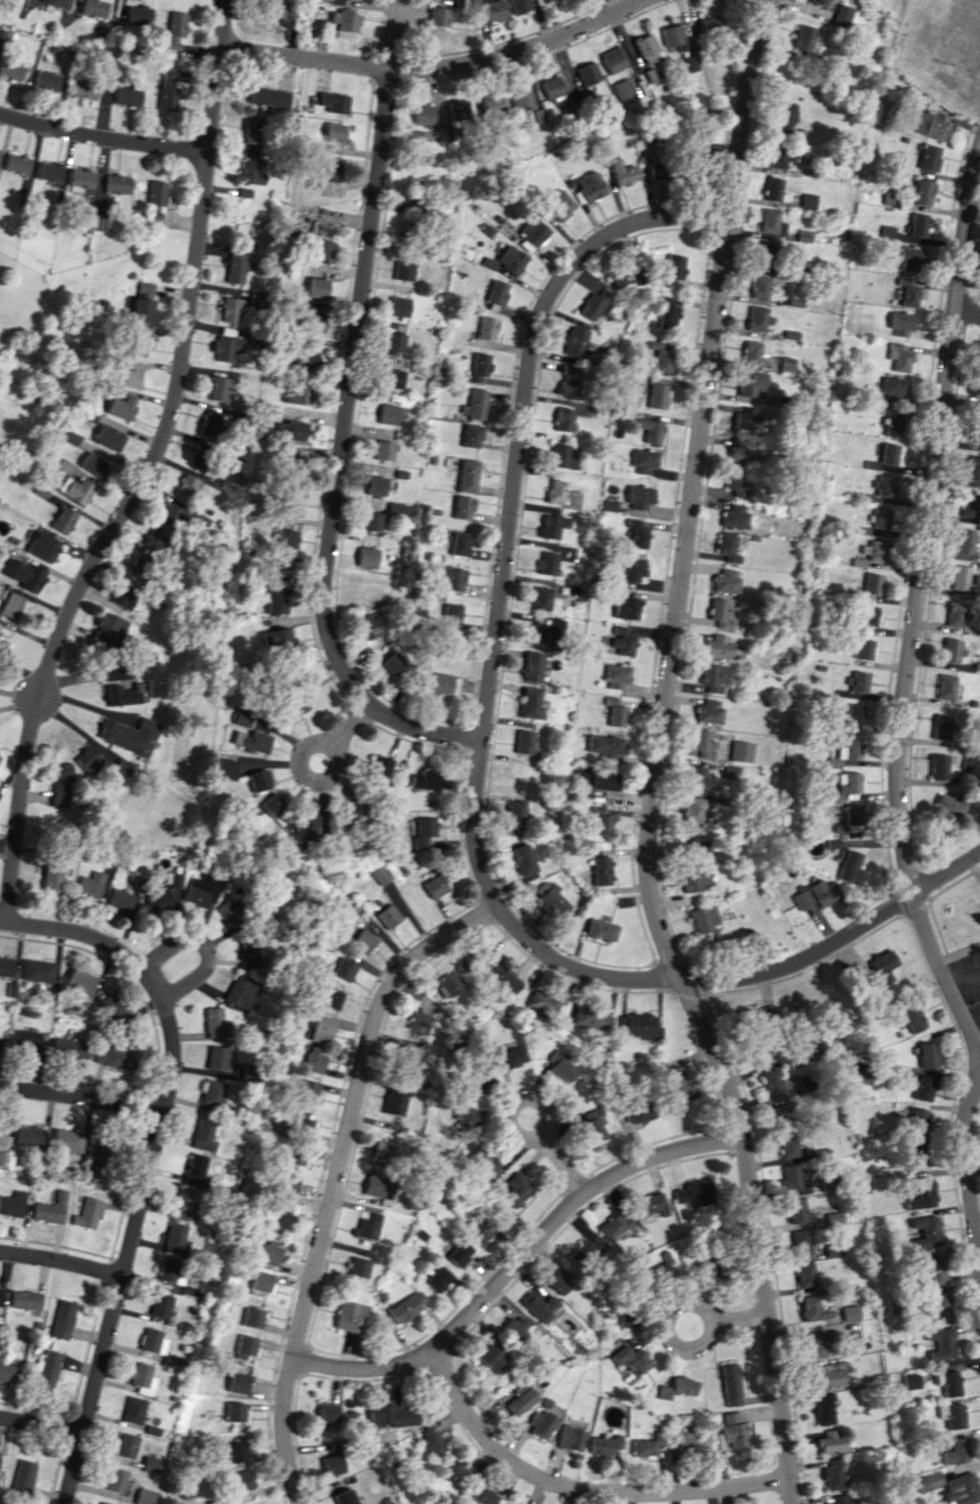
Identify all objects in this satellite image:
building: (29, 0)
building: (818, 2)
building: (59, 3)
building: (519, 5)
building: (95, 7)
building: (285, 9)
building: (494, 10)
building: (139, 14)
building: (841, 15)
building: (438, 16)
building: (346, 21)
building: (710, 25)
building: (176, 30)
road: (394, 35)
building: (673, 37)
building: (802, 37)
building: (646, 48)
building: (613, 59)
building: (688, 63)
road: (437, 67)
building: (11, 70)
building: (587, 73)
building: (47, 80)
building: (551, 86)
building: (84, 89)
building: (169, 90)
building: (623, 90)
building: (129, 95)
building: (268, 97)
building: (520, 98)
building: (334, 102)
building: (491, 103)
building: (458, 110)
building: (423, 114)
building: (783, 118)
building: (931, 124)
building: (253, 131)
building: (327, 135)
road: (103, 139)
building: (0, 151)
building: (779, 155)
building: (928, 157)
building: (17, 163)
building: (655, 168)
building: (251, 170)
building: (50, 171)
building: (329, 171)
building: (622, 173)
building: (81, 180)
building: (117, 184)
building: (591, 186)
building: (773, 188)
building: (921, 192)
building: (887, 198)
building: (155, 199)
building: (807, 200)
building: (560, 205)
building: (768, 221)
building: (86, 222)
building: (917, 225)
building: (321, 229)
building: (409, 230)
building: (534, 231)
building: (802, 235)
building: (323, 248)
building: (764, 254)
building: (512, 259)
building: (909, 259)
building: (236, 264)
building: (673, 269)
building: (403, 270)
building: (626, 277)
building: (317, 287)
building: (759, 287)
building: (498, 292)
building: (907, 292)
building: (257, 299)
building: (138, 304)
building: (596, 305)
building: (399, 306)
road: (967, 307)
building: (229, 309)
building: (669, 312)
building: (756, 318)
building: (312, 323)
building: (900, 324)
building: (488, 328)
building: (576, 341)
building: (394, 342)
building: (137, 343)
building: (226, 347)
building: (752, 352)
building: (661, 356)
building: (897, 356)
building: (307, 359)
building: (785, 364)
building: (481, 367)
building: (127, 375)
building: (393, 378)
building: (570, 380)
building: (749, 382)
building: (218, 388)
building: (892, 388)
building: (657, 393)
building: (299, 395)
building: (476, 404)
building: (121, 406)
building: (390, 414)
building: (744, 418)
building: (565, 419)
building: (891, 422)
building: (209, 423)
building: (977, 429)
building: (291, 430)
building: (651, 430)
building: (473, 435)
building: (108, 437)
building: (70, 438)
building: (384, 450)
road: (339, 451)
building: (740, 453)
building: (886, 453)
building: (200, 456)
building: (562, 456)
building: (645, 461)
building: (92, 464)
building: (295, 467)
building: (973, 468)
road: (145, 469)
building: (469, 476)
building: (736, 483)
building: (376, 485)
building: (882, 485)
building: (186, 487)
building: (75, 489)
building: (556, 491)
road: (511, 497)
building: (640, 497)
building: (290, 502)
building: (969, 505)
building: (463, 507)
building: (399, 509)
building: (175, 513)
building: (734, 515)
building: (879, 518)
building: (62, 520)
building: (371, 521)
building: (552, 526)
building: (637, 533)
building: (285, 538)
building: (156, 540)
building: (964, 541)
building: (460, 543)
building: (42, 546)
building: (727, 547)
building: (873, 550)
building: (367, 557)
building: (547, 563)
building: (137, 567)
building: (631, 568)
building: (277, 570)
building: (24, 574)
building: (371, 577)
building: (448, 577)
building: (962, 578)
building: (725, 581)
building: (871, 583)
building: (371, 595)
building: (123, 597)
building: (541, 598)
building: (274, 599)
road: (918, 601)
building: (11, 605)
building: (626, 605)
building: (719, 612)
building: (955, 614)
building: (451, 615)
building: (868, 615)
building: (0, 626)
building: (370, 626)
building: (108, 630)
building: (546, 632)
building: (275, 639)
building: (623, 640)
building: (717, 646)
building: (863, 648)
building: (951, 650)
building: (393, 663)
building: (291, 666)
building: (533, 666)
building: (117, 673)
building: (617, 676)
building: (713, 677)
building: (856, 681)
building: (437, 683)
building: (946, 686)
building: (122, 695)
building: (531, 701)
building: (294, 706)
building: (709, 710)
building: (616, 711)
building: (854, 714)
building: (241, 718)
building: (942, 726)
road: (347, 727)
building: (130, 735)
building: (251, 740)
building: (523, 741)
building: (701, 743)
building: (608, 747)
road: (330, 750)
building: (740, 751)
building: (845, 751)
building: (0, 755)
road: (656, 758)
building: (88, 759)
building: (379, 766)
building: (939, 766)
building: (225, 768)
building: (698, 777)
building: (425, 779)
building: (257, 780)
building: (604, 780)
building: (848, 782)
building: (60, 783)
building: (949, 806)
building: (275, 809)
building: (692, 809)
building: (515, 814)
building: (852, 814)
building: (601, 820)
building: (303, 829)
building: (426, 834)
building: (690, 839)
building: (523, 859)
building: (850, 867)
building: (601, 870)
road: (946, 871)
building: (380, 875)
building: (51, 878)
building: (694, 878)
building: (90, 884)
building: (435, 886)
building: (203, 889)
building: (822, 892)
building: (164, 893)
building: (551, 898)
building: (800, 899)
building: (120, 900)
building: (231, 912)
building: (388, 916)
building: (703, 918)
building: (601, 929)
road: (84, 934)
building: (363, 940)
road: (206, 947)
building: (250, 953)
building: (6, 966)
building: (880, 967)
building: (343, 968)
building: (38, 971)
building: (500, 976)
road: (961, 977)
road: (701, 979)
building: (80, 981)
building: (450, 983)
building: (242, 990)
building: (330, 998)
building: (542, 1003)
building: (113, 1009)
building: (758, 1014)
building: (591, 1019)
building: (912, 1019)
building: (214, 1022)
building: (417, 1022)
building: (639, 1026)
building: (321, 1028)
building: (25, 1040)
building: (812, 1047)
building: (69, 1048)
building: (765, 1054)
building: (927, 1054)
building: (511, 1055)
building: (115, 1056)
building: (218, 1057)
building: (314, 1059)
building: (406, 1059)
building: (560, 1067)
building: (771, 1081)
building: (477, 1082)
building: (675, 1082)
building: (923, 1087)
building: (307, 1089)
building: (212, 1093)
road: (81, 1100)
building: (393, 1100)
building: (638, 1112)
building: (780, 1114)
building: (464, 1117)
road: (512, 1120)
building: (916, 1120)
building: (302, 1125)
building: (592, 1125)
building: (204, 1135)
building: (29, 1136)
building: (68, 1140)
building: (4, 1145)
building: (786, 1145)
building: (381, 1151)
building: (103, 1158)
building: (294, 1158)
road: (562, 1160)
building: (916, 1160)
building: (197, 1170)
road: (968, 1173)
road: (335, 1178)
building: (791, 1178)
building: (825, 1182)
building: (374, 1186)
building: (287, 1190)
building: (516, 1191)
building: (694, 1192)
building: (922, 1193)
building: (186, 1203)
building: (13, 1204)
building: (651, 1204)
building: (52, 1209)
building: (796, 1211)
building: (88, 1213)
road: (563, 1214)
building: (832, 1216)
building: (279, 1220)
building: (368, 1226)
building: (615, 1226)
building: (482, 1230)
building: (924, 1231)
building: (176, 1238)
building: (799, 1242)
road: (129, 1243)
building: (585, 1250)
building: (831, 1250)
building: (267, 1252)
building: (459, 1253)
road: (61, 1262)
building: (359, 1267)
building: (169, 1269)
building: (933, 1270)
building: (803, 1274)
building: (438, 1279)
building: (559, 1279)
building: (263, 1281)
building: (1, 1299)
building: (27, 1299)
building: (162, 1305)
building: (538, 1305)
building: (407, 1306)
building: (808, 1308)
building: (938, 1308)
building: (847, 1312)
building: (351, 1315)
road: (739, 1317)
building: (254, 1318)
building: (64, 1319)
building: (627, 1319)
road: (665, 1327)
building: (515, 1328)
building: (153, 1341)
building: (940, 1343)
building: (853, 1344)
building: (248, 1345)
building: (813, 1345)
building: (493, 1357)
building: (632, 1358)
building: (171, 1359)
building: (49, 1368)
building: (8, 1372)
building: (826, 1375)
building: (143, 1378)
building: (909, 1380)
building: (946, 1382)
building: (239, 1383)
building: (730, 1384)
building: (677, 1387)
building: (521, 1398)
building: (825, 1409)
building: (134, 1410)
building: (236, 1411)
building: (328, 1412)
building: (392, 1415)
building: (950, 1415)
building: (541, 1422)
road: (40, 1427)
building: (731, 1432)
building: (571, 1437)
building: (431, 1441)
building: (688, 1441)
building: (830, 1441)
building: (126, 1445)
building: (605, 1445)
building: (644, 1447)
building: (955, 1451)
building: (235, 1452)
building: (0, 1456)
building: (151, 1464)
building: (332, 1465)
road: (517, 1467)
building: (455, 1471)
building: (831, 1473)
building: (25, 1476)
building: (116, 1479)
building: (242, 1481)
building: (928, 1481)
building: (961, 1489)
building: (483, 1495)
building: (143, 1496)
building: (189, 1496)
building: (346, 1497)
building: (839, 1500)
building: (103, 1503)
building: (508, 1503)

